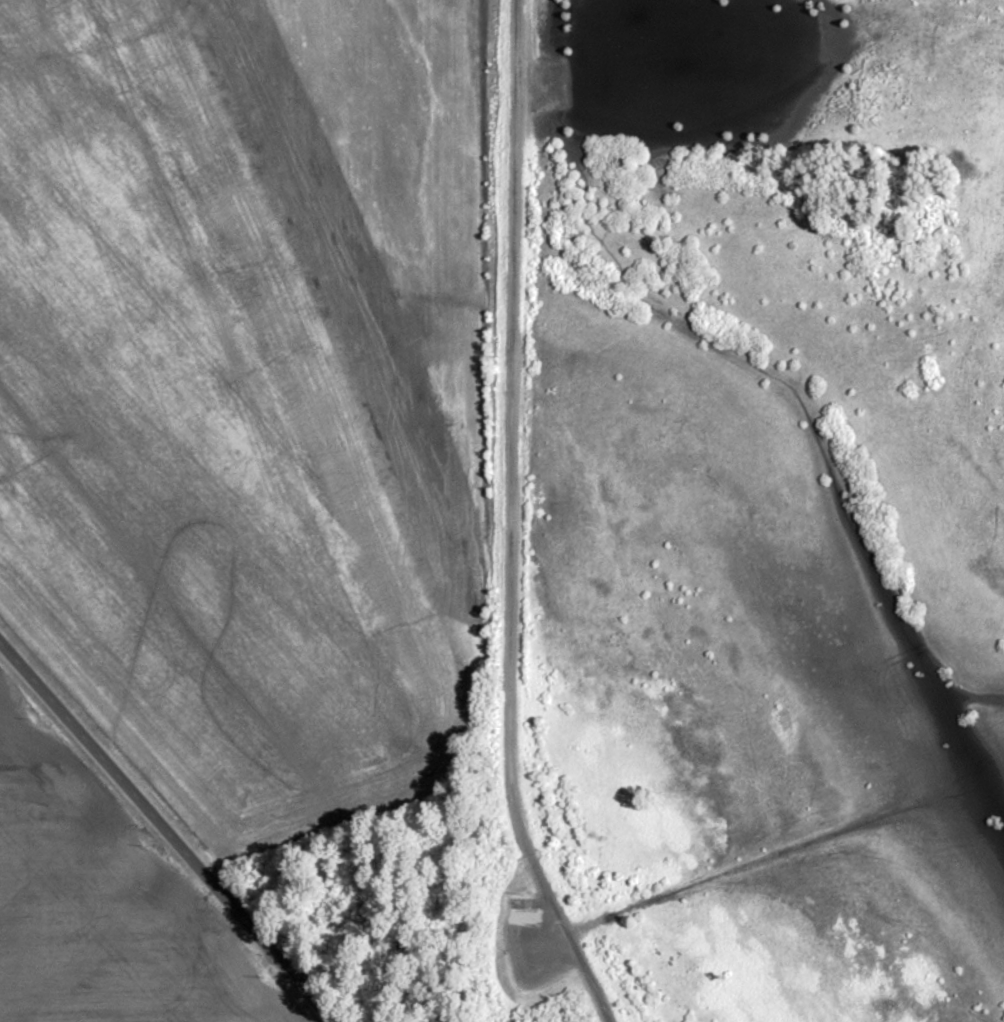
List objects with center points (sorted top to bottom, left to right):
road: (512, 521)
road: (165, 830)

